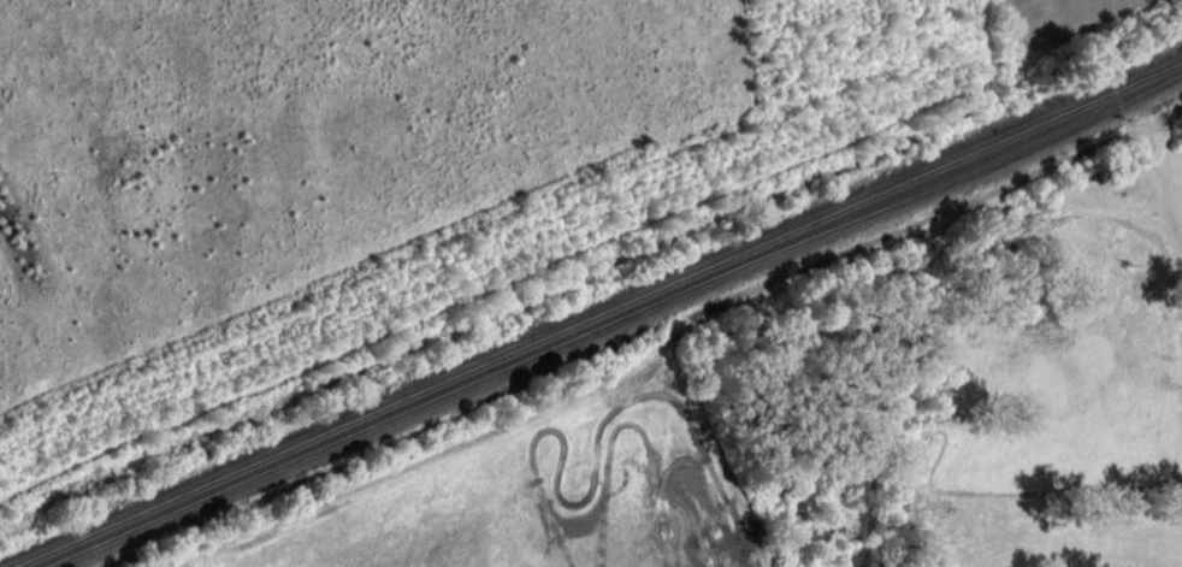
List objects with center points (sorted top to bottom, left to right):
road: (528, 268)
railway: (599, 314)
railway: (615, 320)

